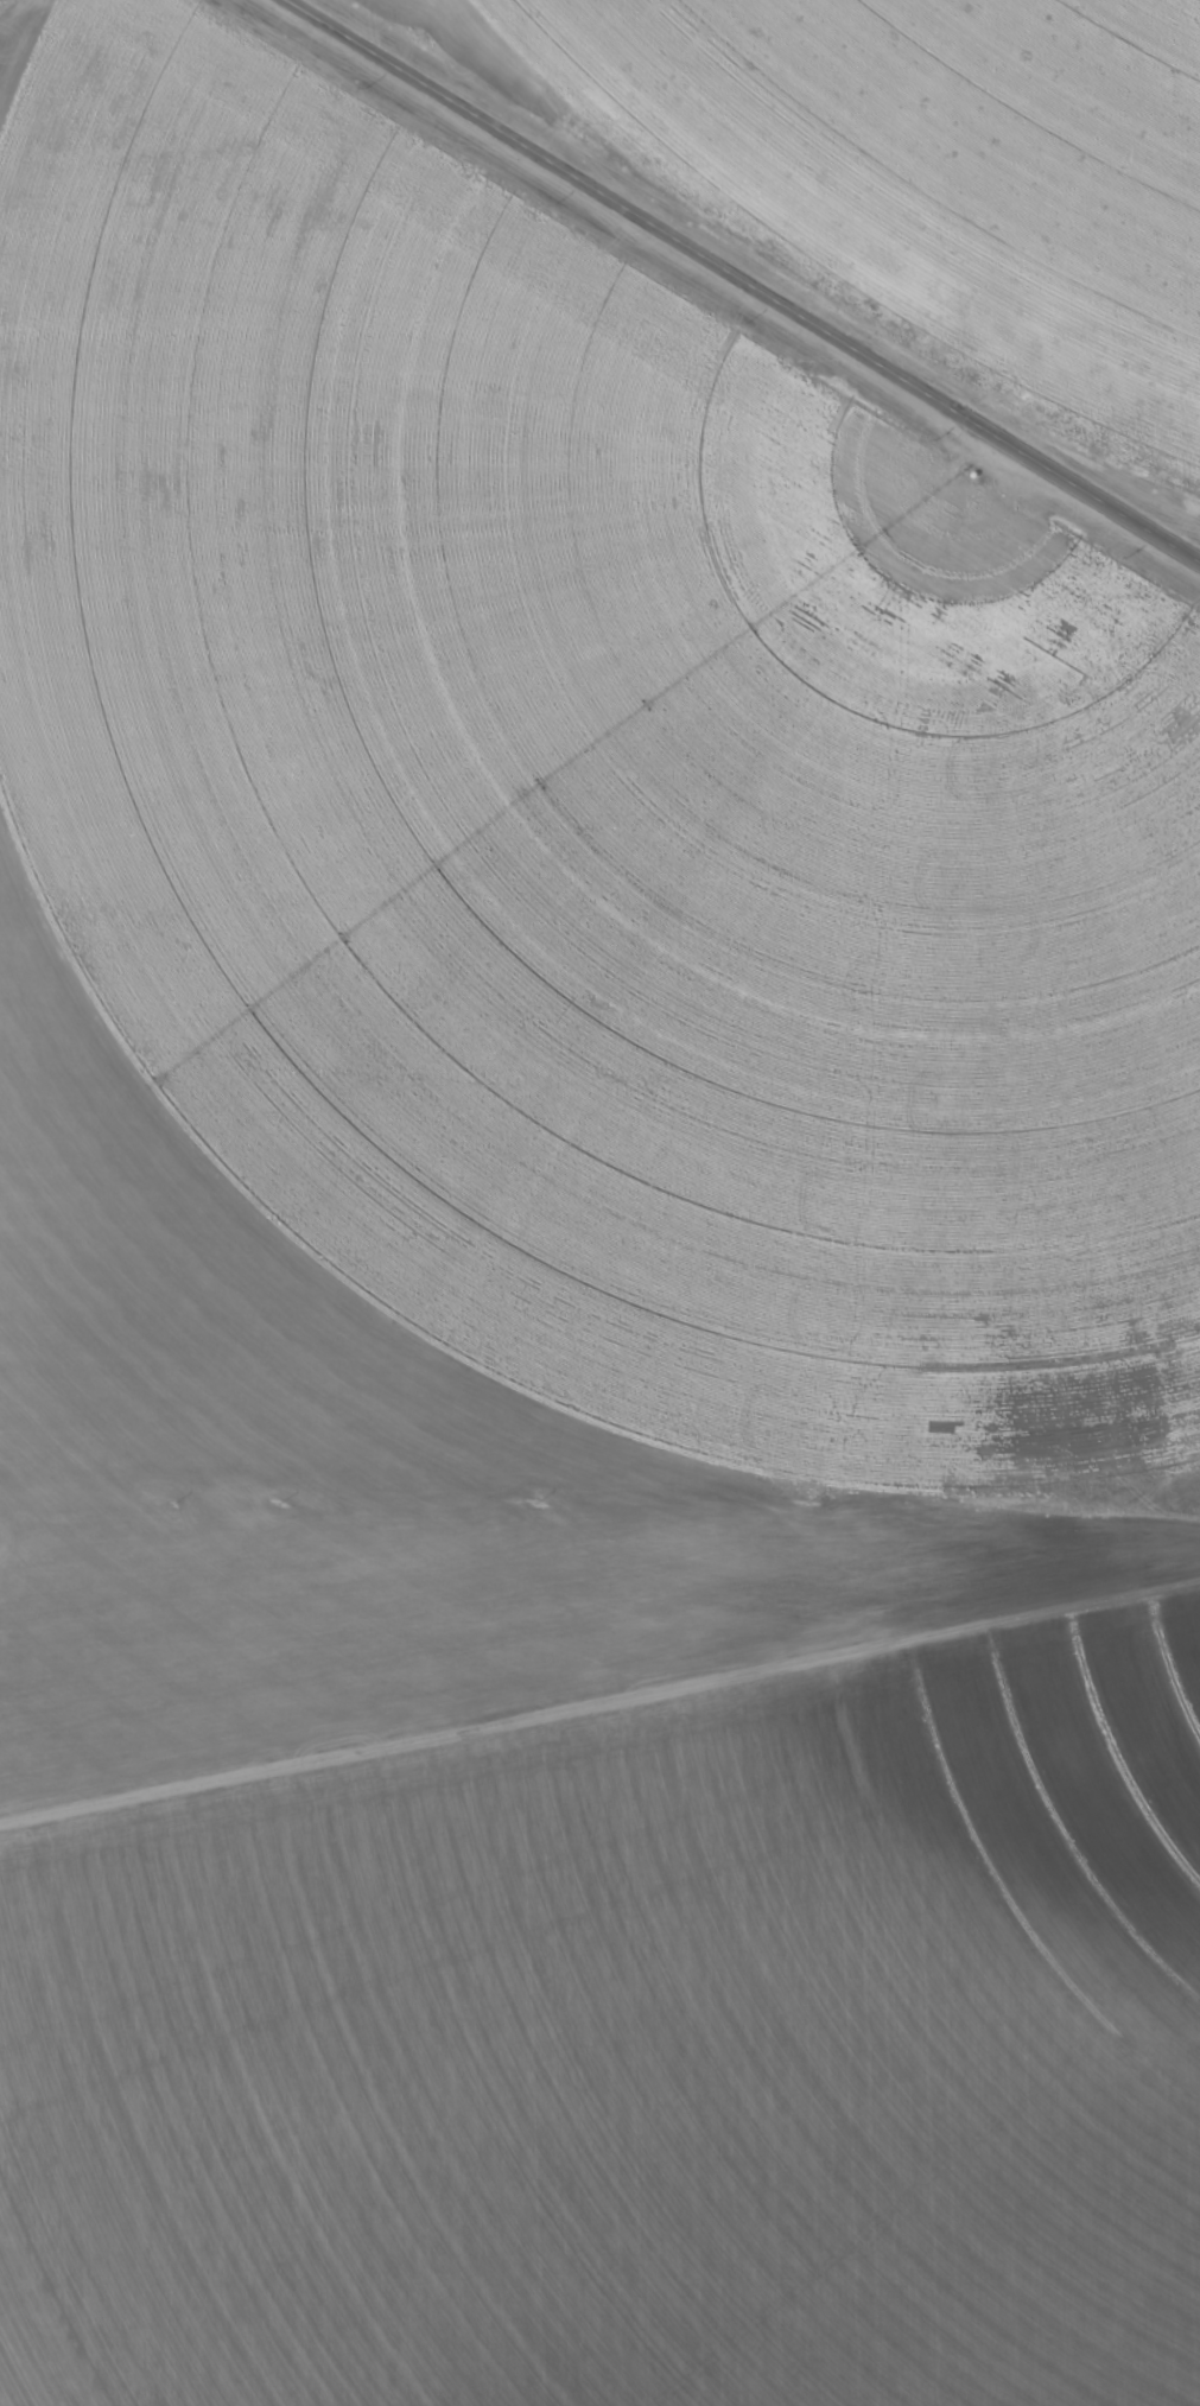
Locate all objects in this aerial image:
road: (645, 217)
road: (1096, 491)
road: (1092, 1199)
road: (538, 1471)

